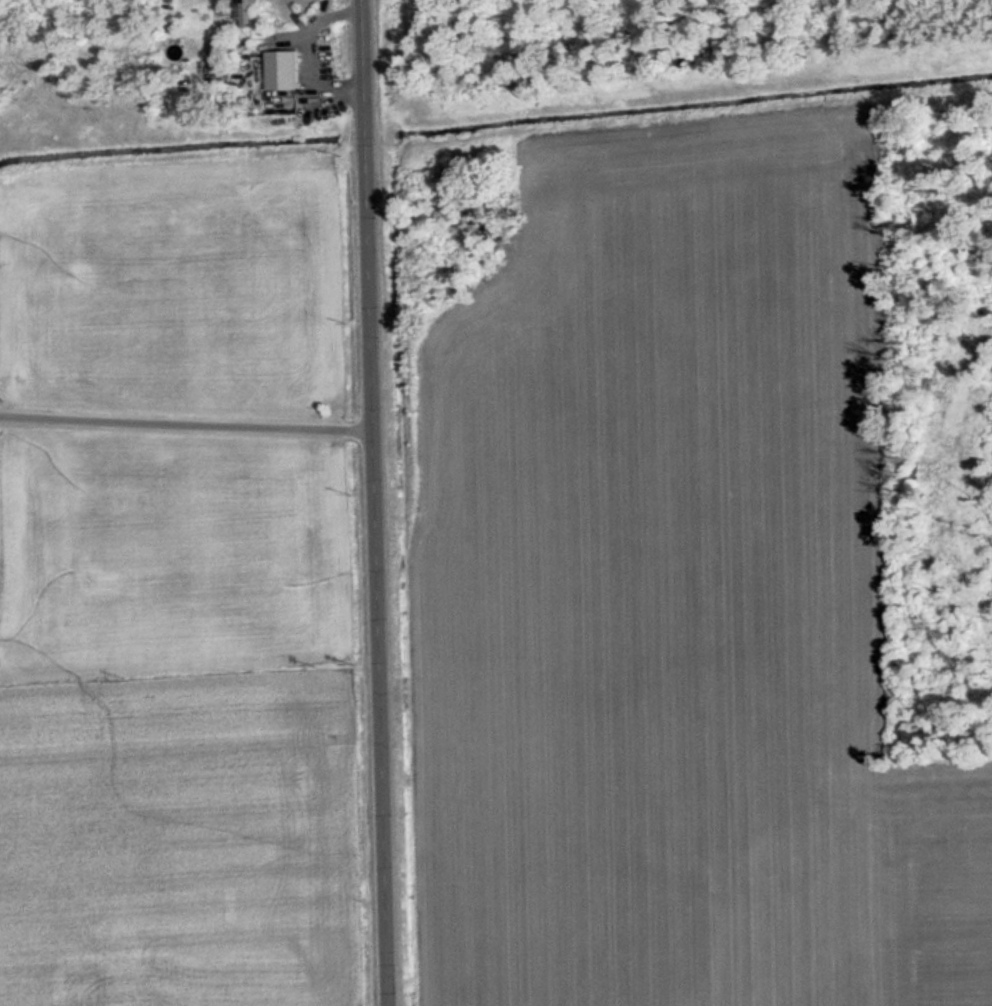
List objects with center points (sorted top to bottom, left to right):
building: (244, 14)
road: (383, 503)

